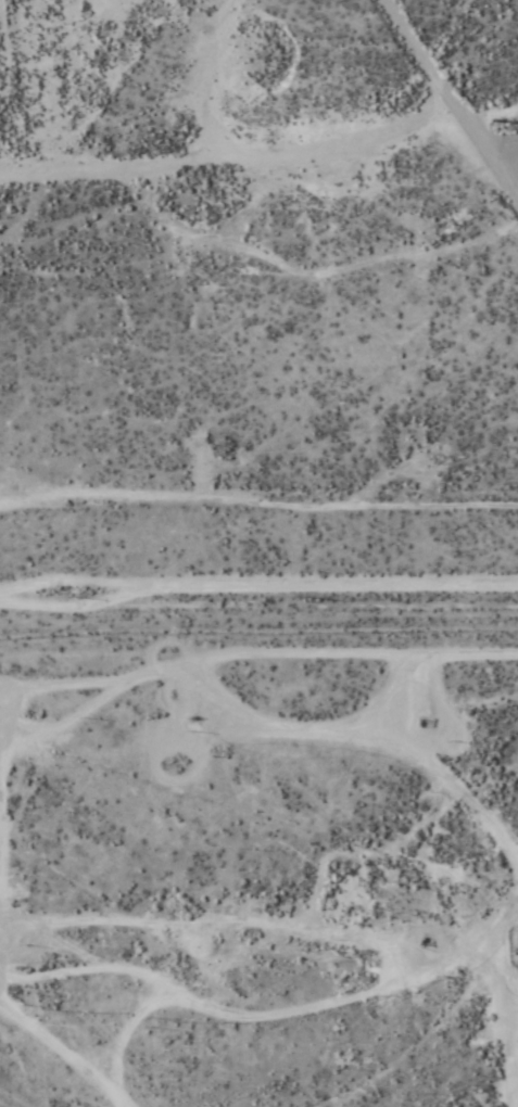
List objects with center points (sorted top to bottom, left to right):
road: (455, 98)
road: (258, 598)

